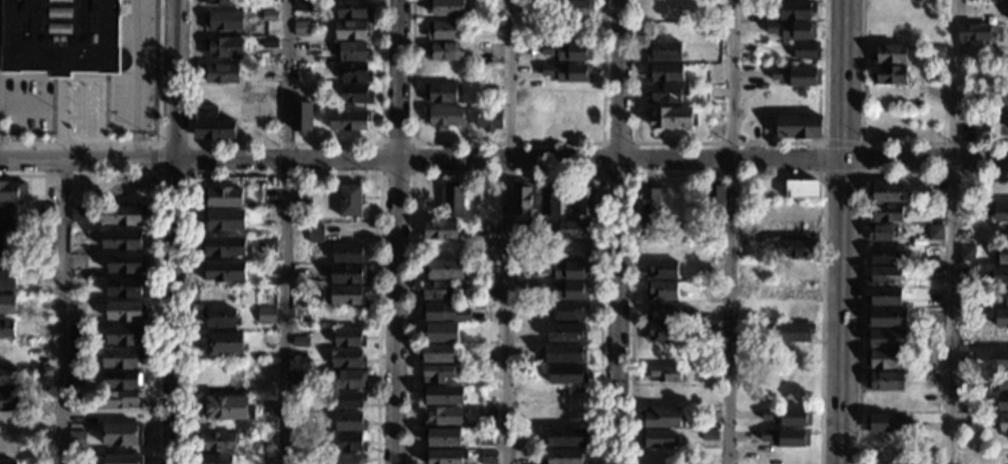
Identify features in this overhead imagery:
building: (269, 0)
building: (223, 2)
building: (304, 5)
building: (446, 7)
building: (524, 7)
building: (576, 8)
building: (352, 9)
building: (797, 9)
building: (970, 11)
building: (1007, 16)
building: (270, 17)
building: (223, 21)
building: (302, 29)
building: (353, 30)
building: (444, 30)
building: (792, 30)
building: (973, 33)
building: (63, 37)
building: (269, 44)
building: (223, 47)
building: (806, 50)
building: (354, 51)
building: (443, 51)
building: (664, 51)
building: (566, 52)
building: (935, 52)
building: (890, 53)
building: (353, 72)
building: (566, 72)
building: (664, 72)
building: (220, 73)
building: (936, 74)
building: (889, 76)
building: (796, 77)
road: (399, 78)
road: (134, 79)
building: (441, 93)
building: (355, 94)
building: (665, 94)
building: (1004, 97)
building: (444, 116)
building: (671, 117)
building: (301, 118)
building: (489, 119)
building: (350, 121)
road: (62, 123)
building: (213, 125)
building: (799, 127)
road: (149, 141)
road: (285, 141)
road: (727, 142)
road: (842, 142)
road: (863, 142)
road: (506, 143)
road: (198, 158)
road: (861, 158)
road: (702, 159)
road: (823, 159)
road: (632, 173)
road: (507, 174)
road: (727, 174)
road: (158, 175)
road: (284, 175)
road: (379, 175)
road: (842, 175)
building: (802, 189)
building: (13, 191)
building: (886, 192)
building: (715, 195)
building: (222, 197)
building: (521, 199)
building: (550, 199)
building: (349, 200)
building: (586, 200)
building: (453, 201)
building: (649, 205)
building: (303, 206)
building: (988, 210)
building: (46, 211)
building: (9, 212)
building: (1001, 212)
building: (80, 213)
building: (886, 213)
building: (123, 215)
building: (563, 216)
building: (223, 221)
building: (441, 230)
building: (574, 230)
road: (174, 231)
road: (508, 231)
road: (730, 231)
road: (840, 231)
road: (952, 231)
building: (45, 232)
road: (286, 232)
road: (619, 232)
building: (934, 232)
building: (881, 233)
building: (1006, 233)
building: (7, 234)
building: (315, 234)
building: (522, 236)
building: (123, 240)
road: (157, 240)
building: (266, 245)
road: (858, 245)
building: (224, 247)
building: (793, 248)
building: (490, 249)
building: (966, 253)
building: (349, 254)
building: (1001, 254)
building: (886, 255)
building: (46, 256)
building: (7, 257)
building: (125, 264)
building: (490, 268)
building: (563, 268)
building: (443, 270)
building: (661, 270)
building: (222, 272)
building: (347, 274)
building: (965, 274)
building: (999, 275)
building: (885, 276)
building: (7, 281)
building: (125, 287)
building: (563, 289)
building: (661, 290)
building: (434, 291)
building: (711, 292)
building: (488, 294)
building: (346, 295)
building: (1002, 295)
building: (884, 296)
building: (8, 305)
building: (568, 309)
road: (61, 311)
building: (125, 311)
road: (397, 311)
building: (443, 311)
building: (671, 311)
building: (266, 316)
building: (220, 318)
building: (886, 318)
building: (1002, 318)
building: (6, 328)
building: (662, 330)
building: (44, 331)
building: (440, 331)
building: (488, 331)
building: (566, 332)
building: (793, 332)
building: (125, 335)
building: (76, 336)
building: (348, 337)
building: (886, 338)
building: (268, 339)
building: (299, 341)
building: (225, 343)
building: (566, 353)
building: (435, 354)
building: (76, 358)
building: (347, 358)
building: (121, 359)
building: (885, 359)
building: (999, 360)
building: (46, 372)
building: (438, 373)
building: (665, 374)
building: (567, 375)
building: (8, 376)
building: (299, 378)
building: (76, 379)
building: (347, 379)
building: (121, 380)
building: (884, 381)
building: (1002, 381)
building: (443, 396)
building: (349, 399)
building: (119, 400)
building: (299, 400)
building: (10, 401)
building: (1003, 402)
building: (74, 403)
building: (227, 407)
building: (488, 415)
building: (788, 416)
building: (443, 417)
building: (661, 417)
building: (349, 421)
building: (887, 423)
building: (1003, 423)
building: (121, 434)
building: (785, 436)
building: (443, 437)
building: (487, 437)
building: (567, 437)
building: (76, 439)
building: (658, 439)
building: (930, 439)
building: (216, 442)
building: (298, 442)
building: (352, 442)
building: (882, 443)
building: (444, 456)
building: (566, 456)
building: (488, 457)
building: (297, 458)
building: (124, 459)
building: (214, 459)
building: (348, 459)
building: (1002, 460)
building: (9, 463)

